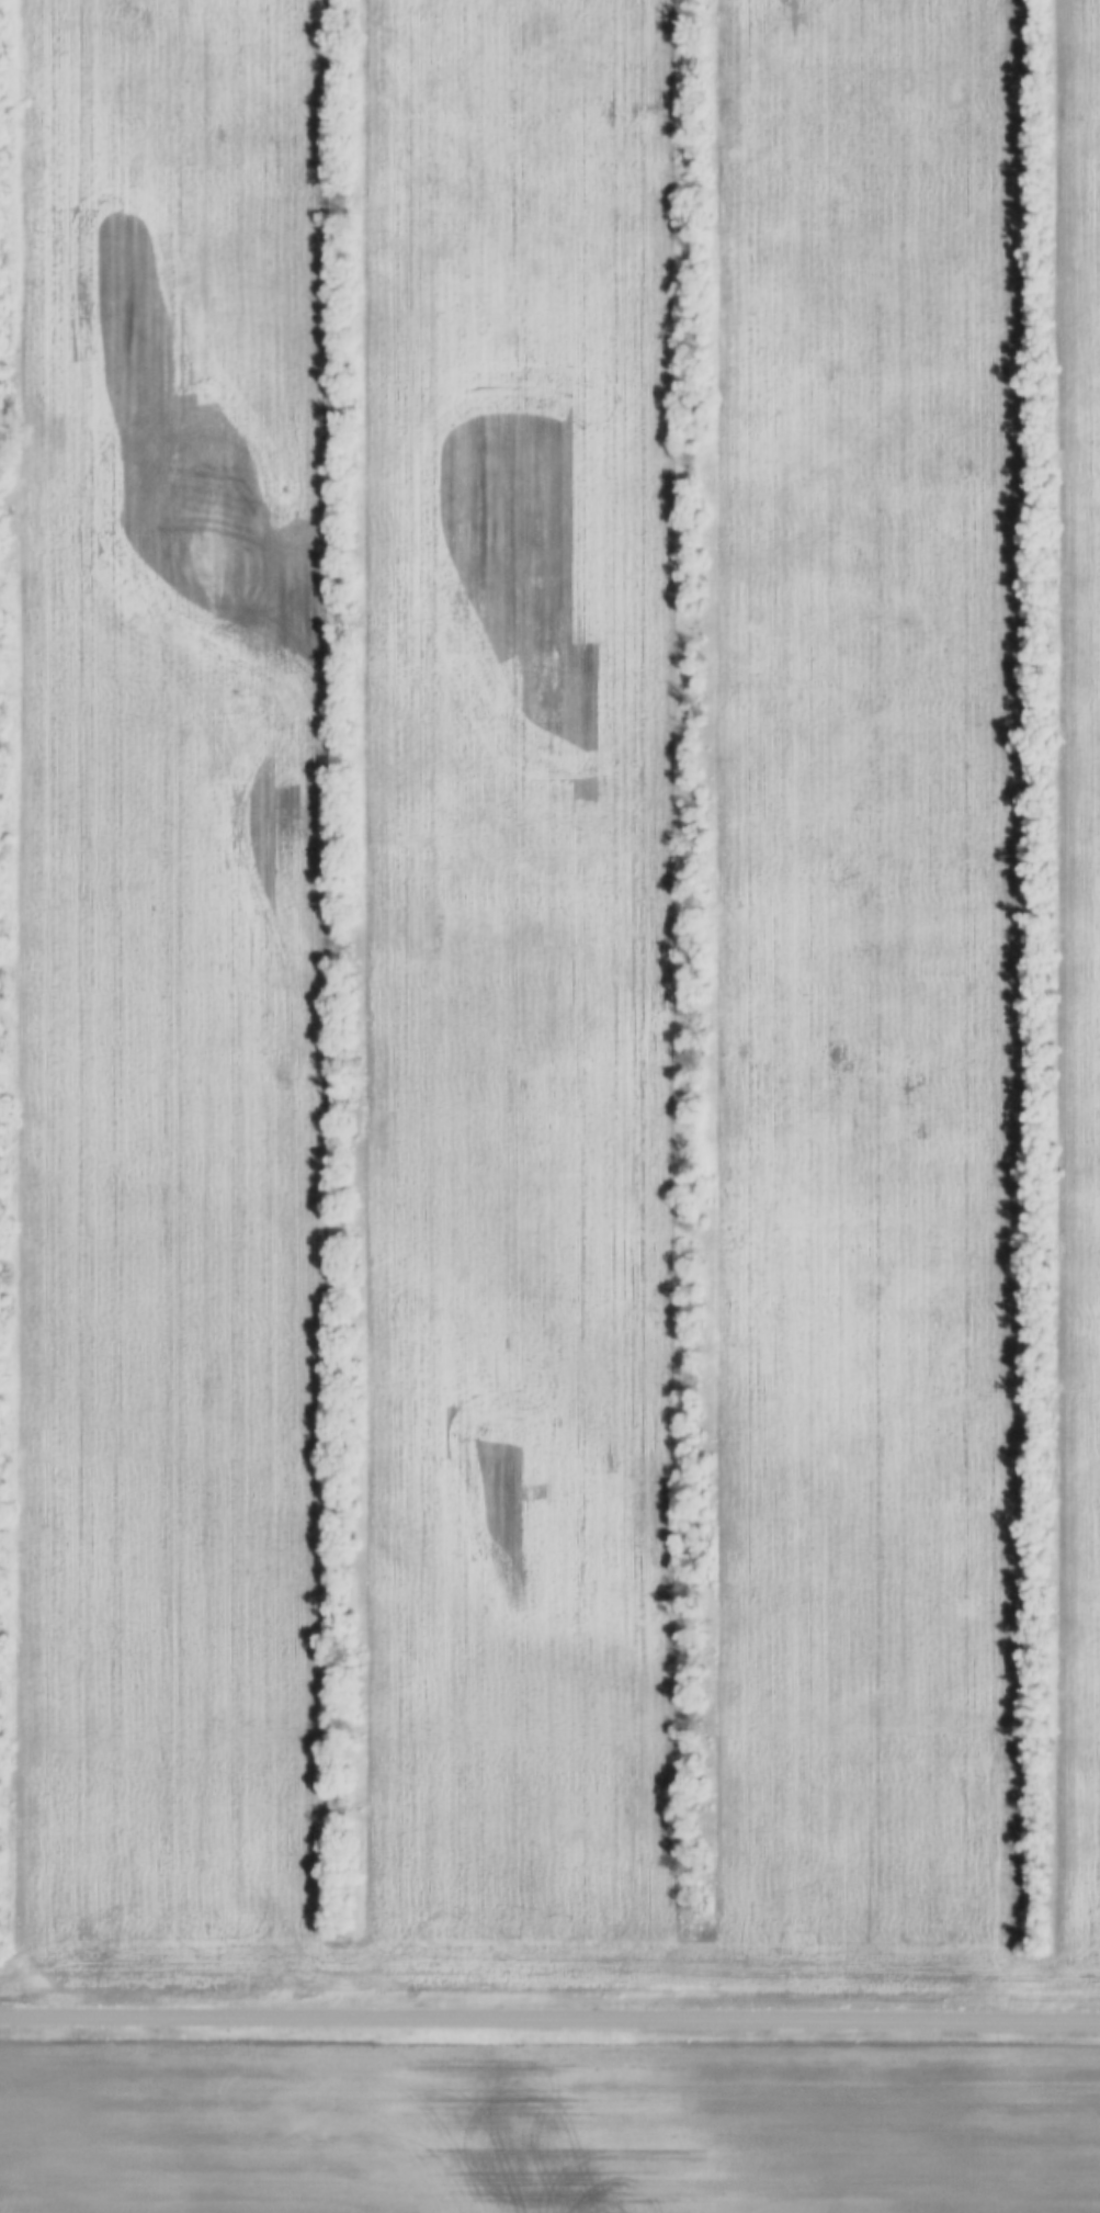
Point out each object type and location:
road: (549, 2020)

